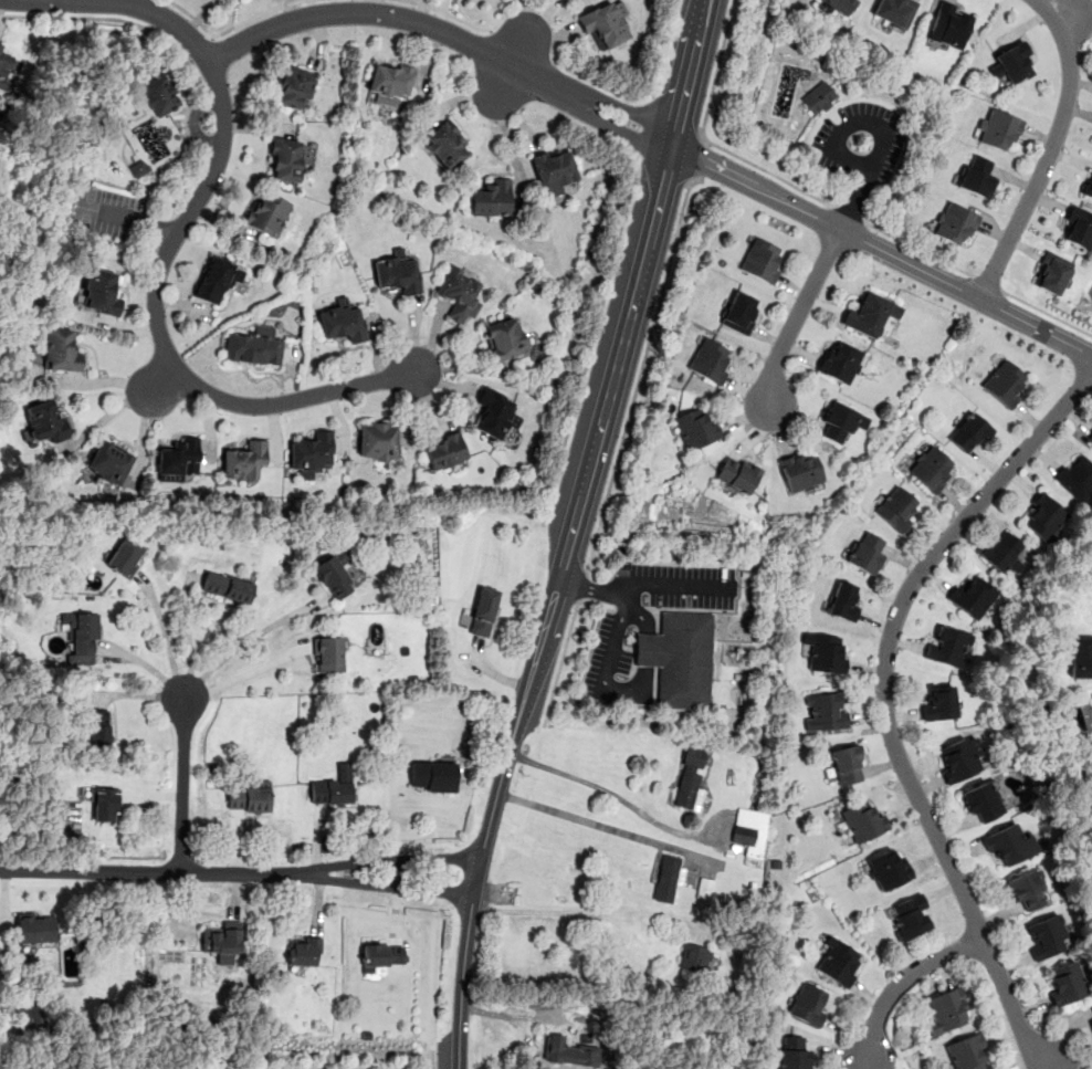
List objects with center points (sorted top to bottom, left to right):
building: (840, 6)
building: (895, 11)
road: (450, 14)
road: (103, 18)
building: (603, 22)
building: (948, 25)
road: (230, 27)
road: (447, 32)
road: (538, 33)
road: (522, 45)
road: (202, 49)
road: (663, 49)
building: (1015, 63)
building: (3, 66)
road: (503, 78)
building: (390, 83)
road: (601, 84)
building: (295, 86)
building: (159, 94)
building: (818, 97)
road: (644, 127)
building: (997, 127)
road: (704, 138)
building: (447, 144)
road: (1050, 149)
road: (696, 156)
building: (285, 160)
building: (554, 167)
building: (138, 168)
building: (977, 176)
building: (1088, 185)
road: (861, 187)
building: (491, 198)
parking lot: (104, 212)
building: (267, 213)
road: (848, 213)
road: (128, 220)
building: (955, 222)
building: (1079, 226)
road: (880, 247)
road: (917, 248)
building: (762, 259)
road: (157, 272)
building: (397, 272)
building: (1052, 272)
building: (216, 279)
road: (987, 281)
building: (102, 291)
building: (459, 293)
building: (739, 312)
road: (1047, 313)
building: (870, 314)
road: (795, 319)
building: (342, 321)
building: (505, 337)
road: (590, 340)
building: (254, 345)
building: (61, 349)
building: (710, 359)
building: (841, 363)
road: (640, 369)
road: (161, 380)
building: (1006, 384)
building: (494, 412)
building: (45, 420)
building: (837, 422)
building: (696, 427)
building: (969, 432)
building: (1091, 439)
building: (377, 442)
building: (444, 451)
building: (311, 453)
building: (177, 459)
building: (243, 460)
building: (108, 462)
building: (931, 468)
building: (800, 470)
building: (737, 473)
building: (1077, 479)
building: (896, 507)
building: (1043, 517)
road: (567, 532)
building: (1000, 549)
building: (867, 551)
building: (125, 556)
building: (335, 572)
road: (626, 585)
building: (227, 586)
road: (581, 586)
road: (589, 588)
building: (972, 596)
building: (844, 600)
building: (483, 610)
road: (165, 636)
building: (81, 637)
road: (242, 641)
road: (565, 646)
building: (947, 647)
building: (825, 653)
building: (328, 654)
building: (1081, 656)
road: (643, 657)
building: (679, 659)
road: (244, 675)
building: (939, 702)
road: (884, 703)
building: (825, 710)
building: (96, 731)
building: (957, 758)
building: (848, 765)
building: (432, 775)
building: (691, 778)
road: (181, 785)
road: (609, 790)
building: (330, 792)
building: (250, 796)
building: (981, 800)
building: (105, 804)
building: (863, 820)
road: (589, 821)
building: (744, 826)
building: (1008, 841)
building: (888, 868)
road: (239, 872)
building: (666, 877)
building: (704, 888)
building: (1026, 888)
road: (585, 911)
building: (909, 916)
building: (35, 927)
building: (1044, 935)
building: (222, 941)
building: (303, 951)
building: (380, 955)
building: (693, 955)
building: (839, 962)
road: (901, 979)
building: (1064, 983)
building: (807, 1004)
building: (947, 1009)
building: (1090, 1012)
building: (34, 1016)
building: (564, 1049)
building: (966, 1051)
building: (792, 1052)
road: (431, 1060)
road: (862, 1066)

